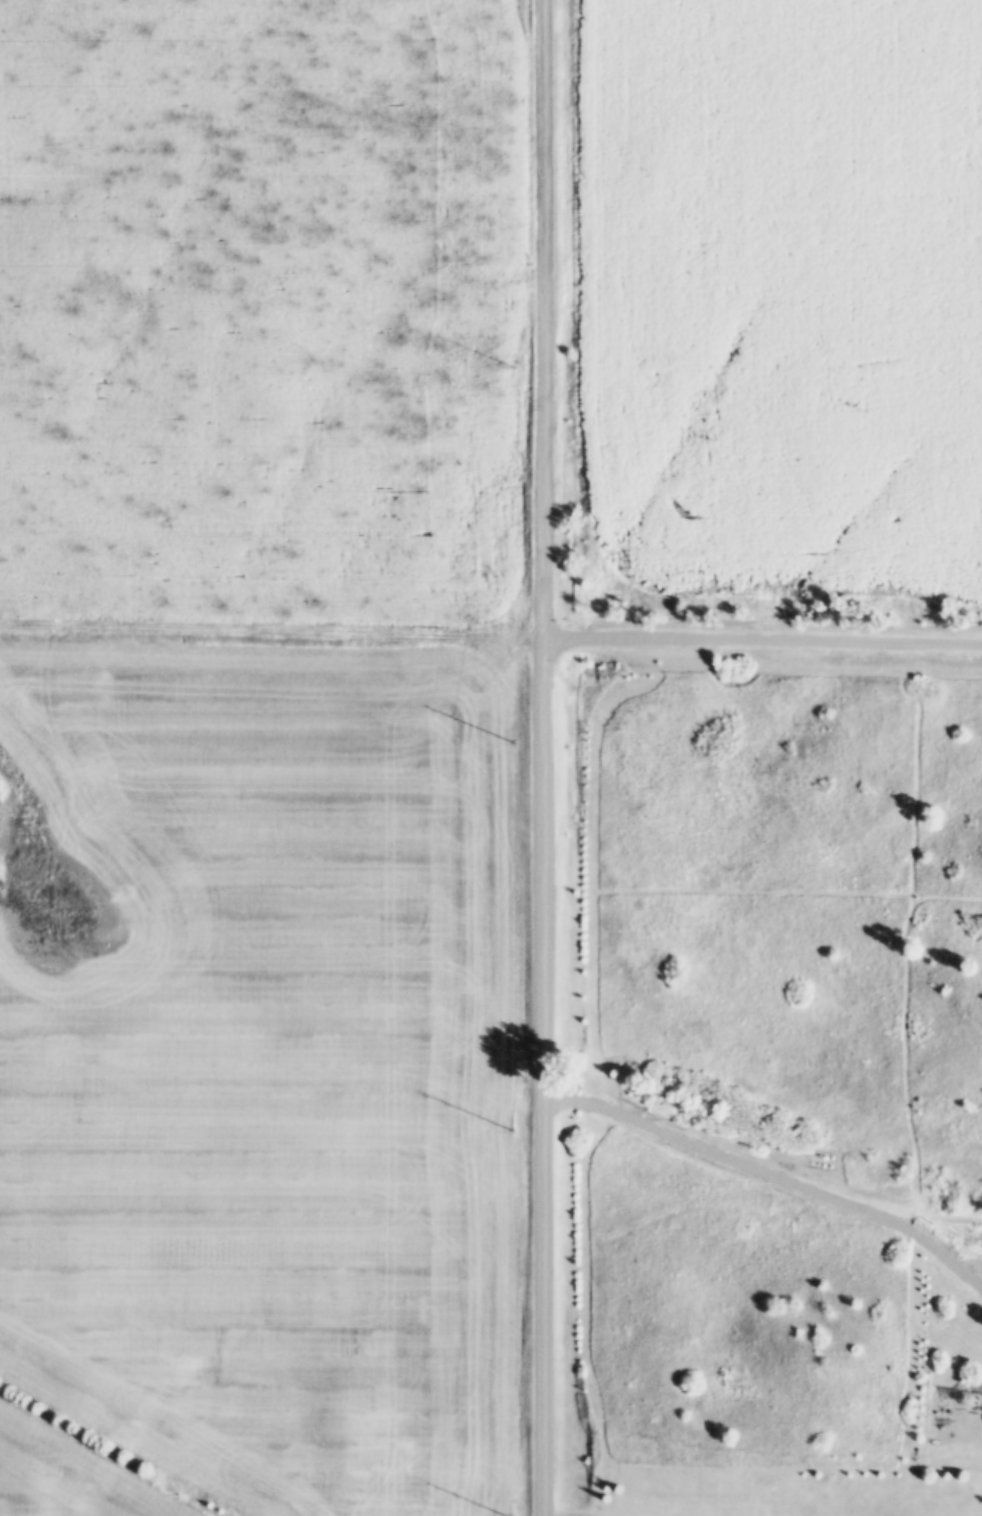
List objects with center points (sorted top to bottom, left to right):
road: (543, 320)
road: (763, 642)
road: (543, 1078)

